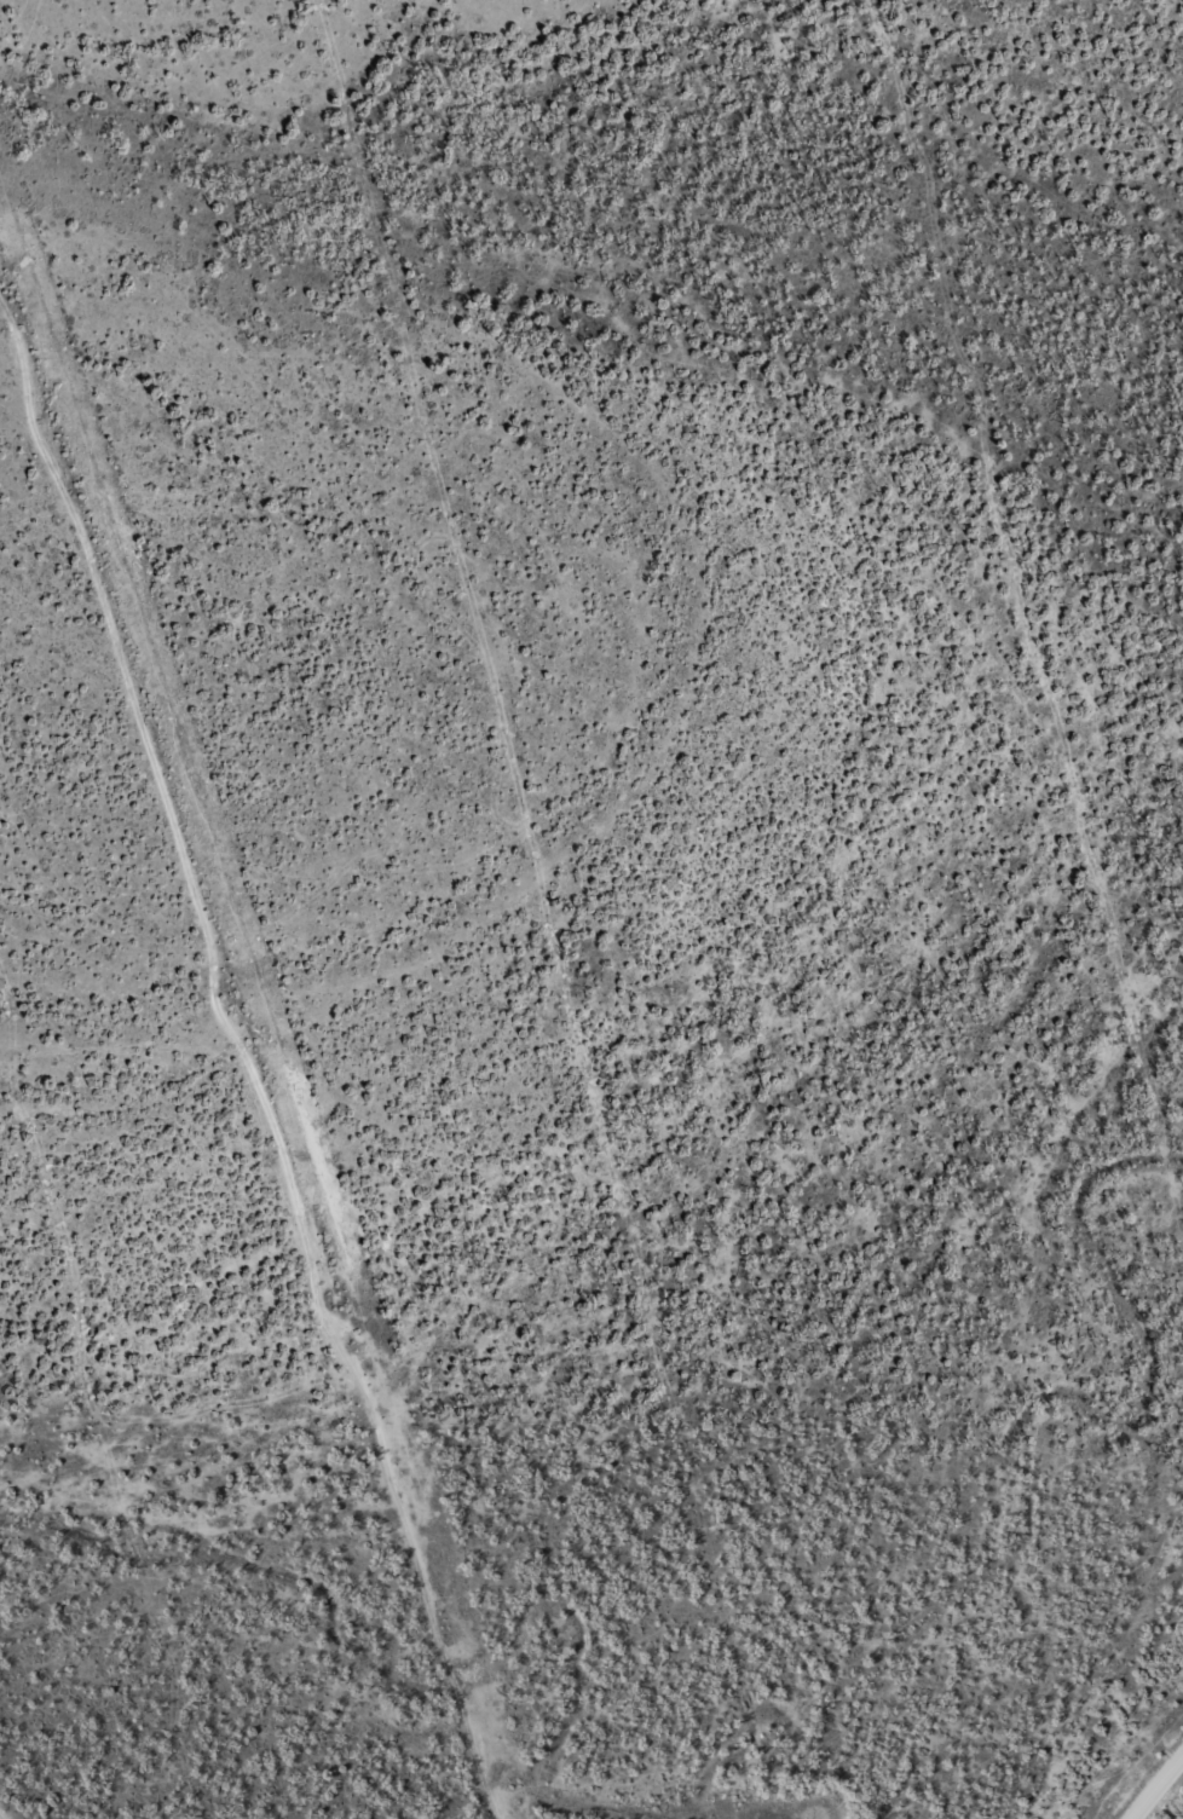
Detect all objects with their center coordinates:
road: (1171, 1804)

